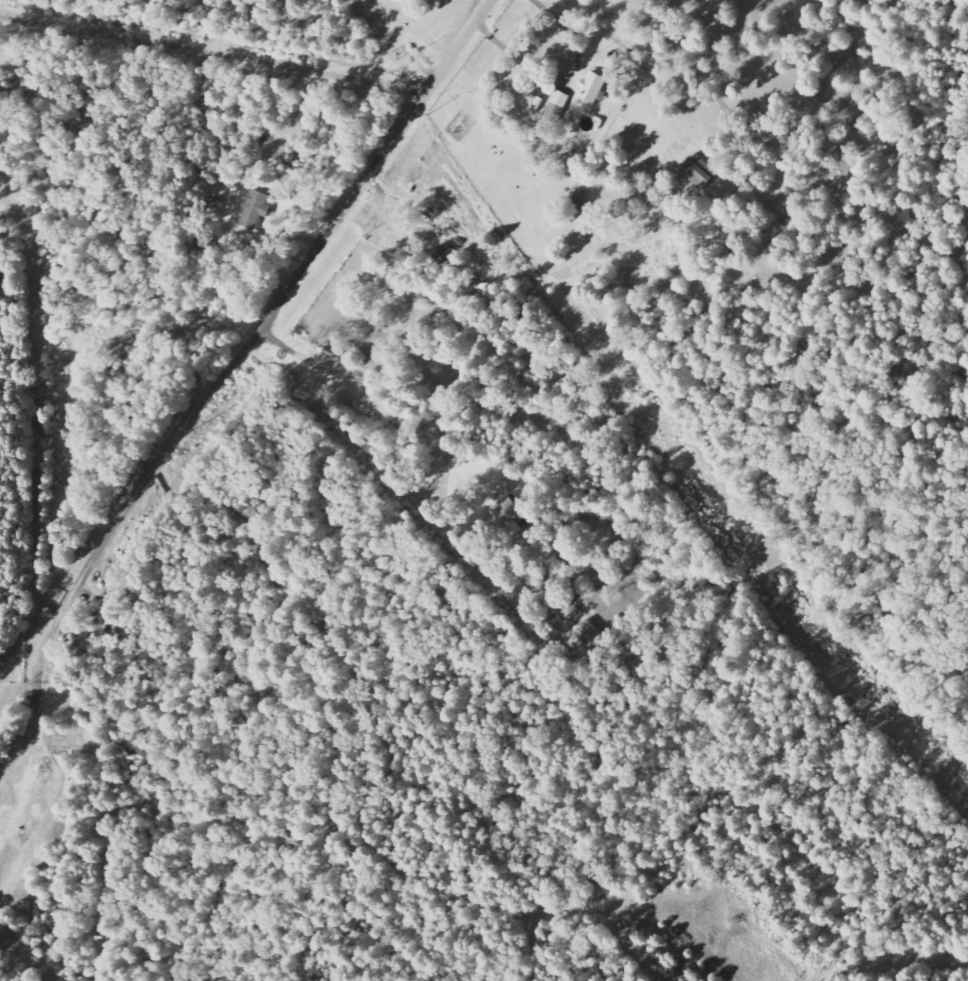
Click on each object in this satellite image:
building: (596, 88)
building: (559, 105)
building: (704, 173)
building: (258, 209)
road: (325, 235)
building: (447, 255)
building: (510, 508)
building: (104, 629)
building: (594, 635)

